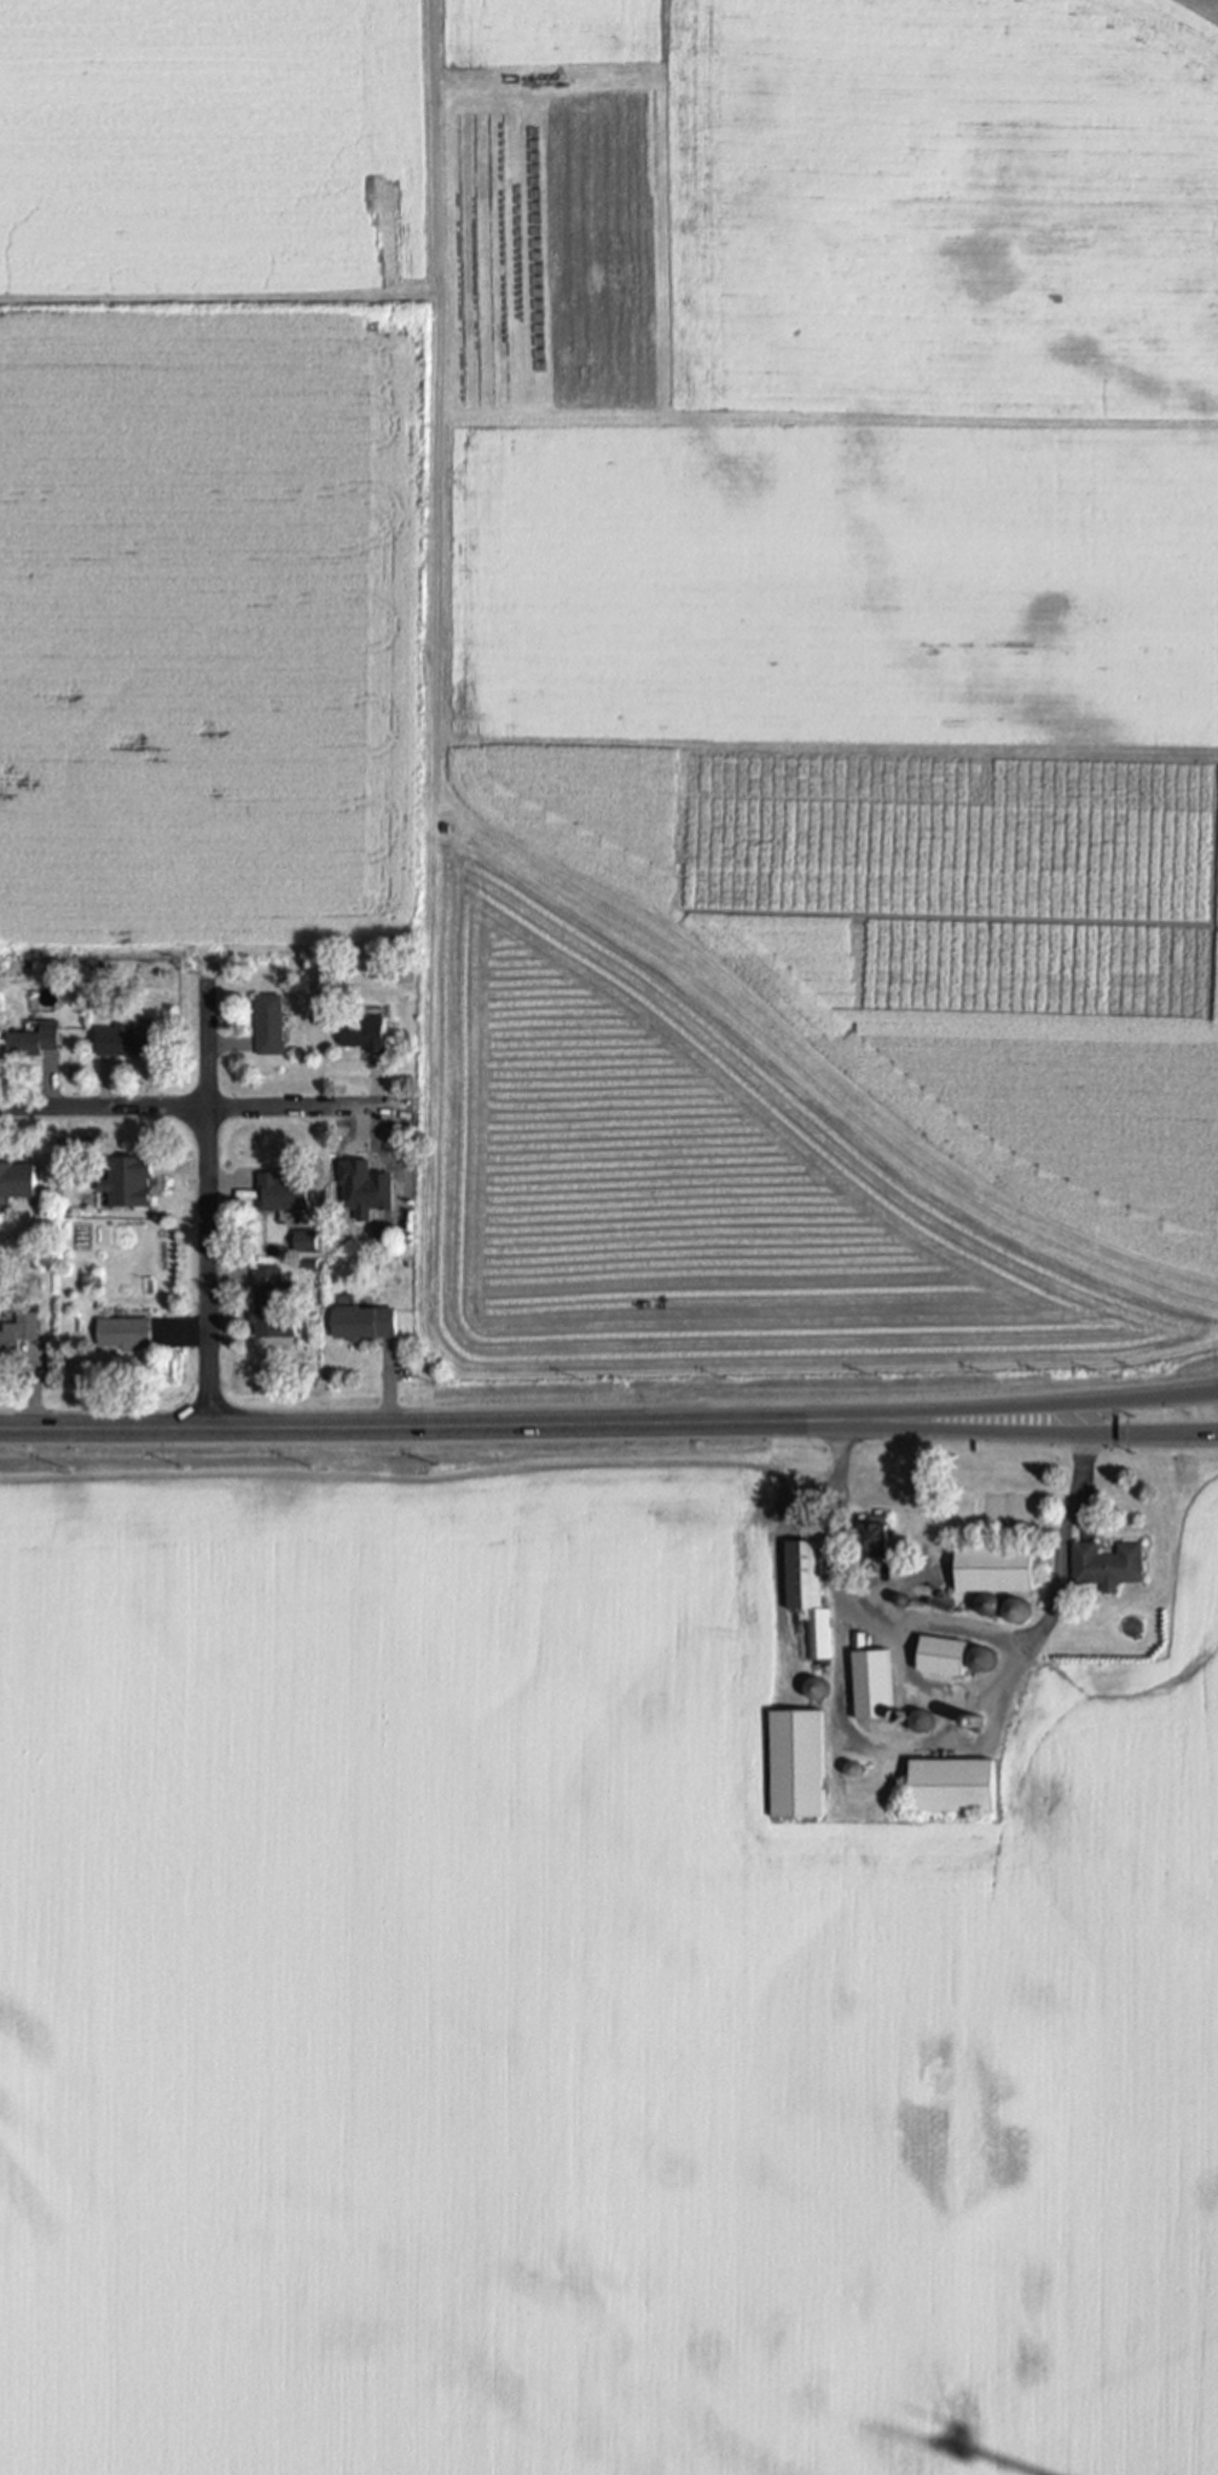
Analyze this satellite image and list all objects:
crop: (214, 620)
crop: (754, 638)
building: (29, 962)
building: (60, 963)
building: (390, 969)
building: (272, 1025)
building: (365, 1033)
building: (35, 1041)
building: (128, 1041)
road: (203, 1108)
building: (17, 1179)
building: (130, 1182)
building: (286, 1193)
road: (208, 1204)
building: (309, 1241)
building: (275, 1304)
building: (366, 1323)
building: (19, 1333)
building: (127, 1333)
road: (899, 1413)
road: (289, 1427)
road: (899, 1428)
building: (876, 1537)
building: (1109, 1565)
building: (997, 1569)
building: (806, 1575)
building: (1019, 1615)
road: (951, 1628)
building: (820, 1634)
building: (860, 1640)
building: (944, 1657)
building: (985, 1660)
building: (875, 1685)
building: (817, 1688)
building: (923, 1722)
building: (799, 1763)
building: (955, 1785)
crop: (570, 1996)

